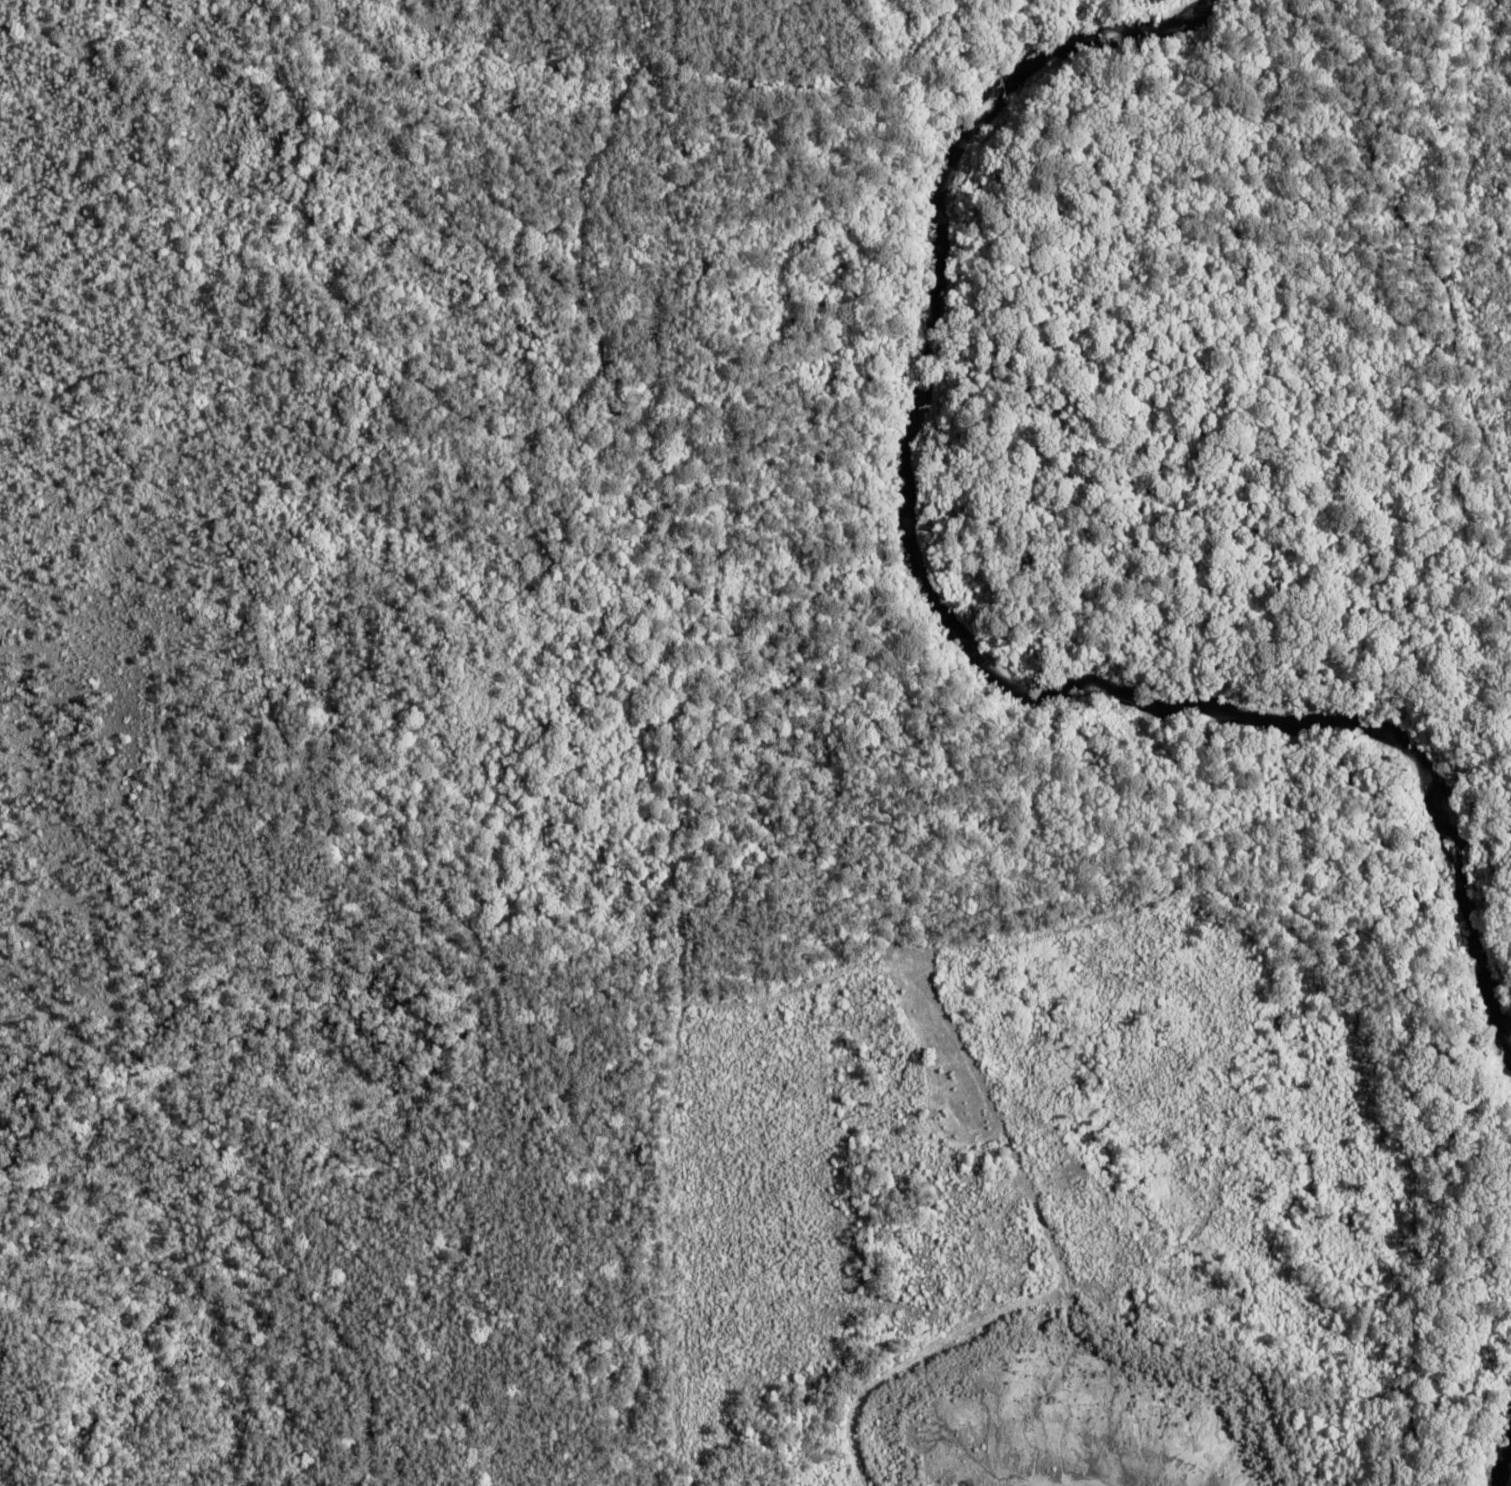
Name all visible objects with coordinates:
river: (956, 624)
road: (1023, 1117)
river: (1501, 1455)

